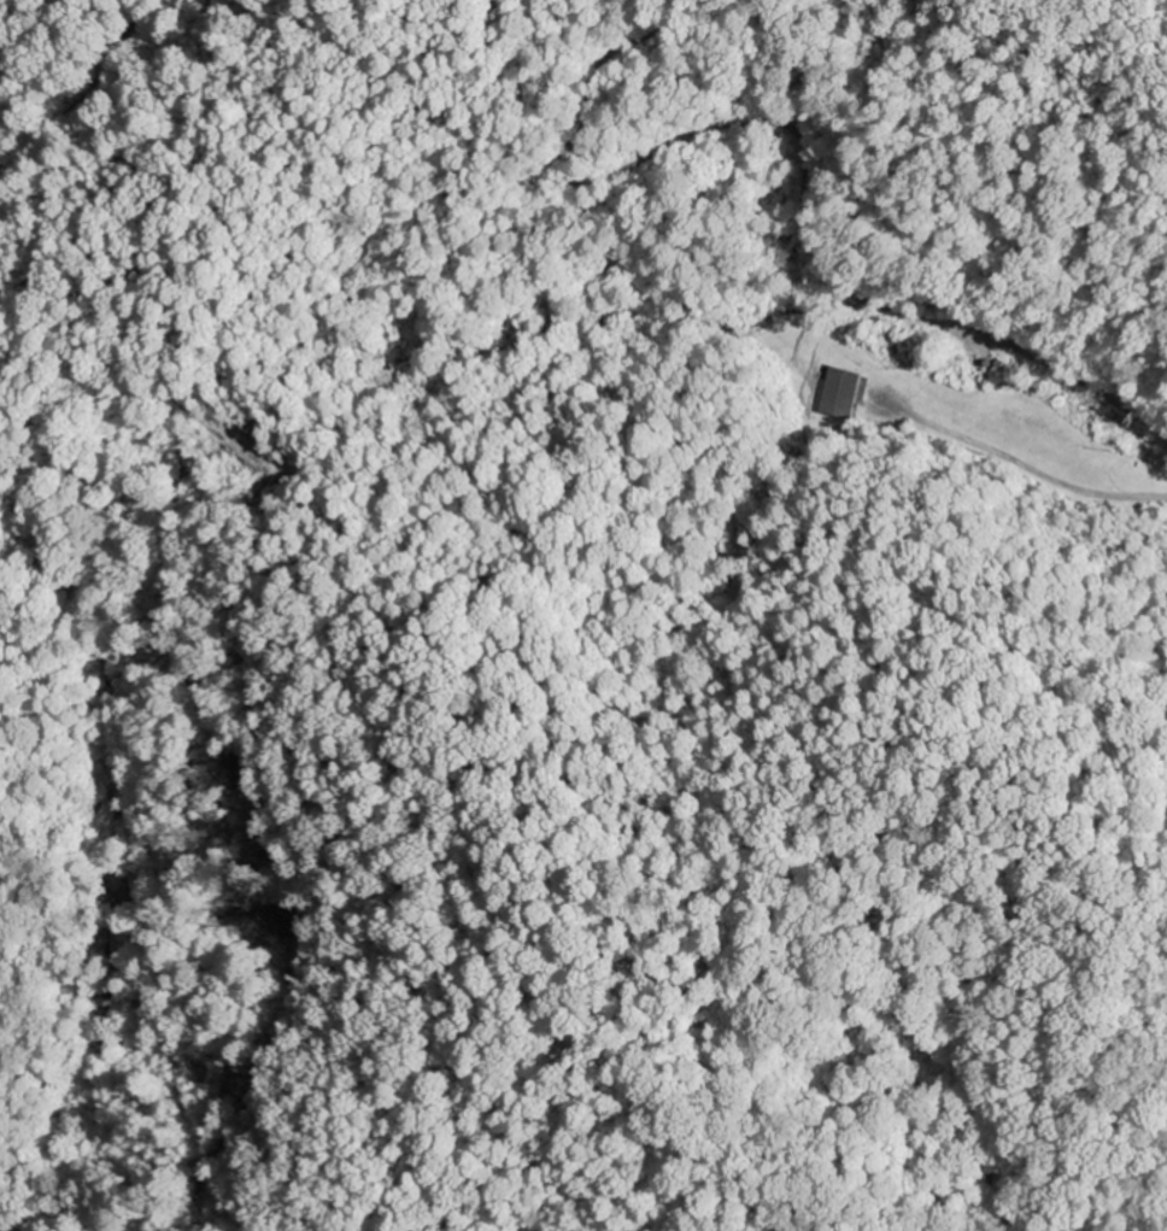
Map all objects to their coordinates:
building: (840, 393)

